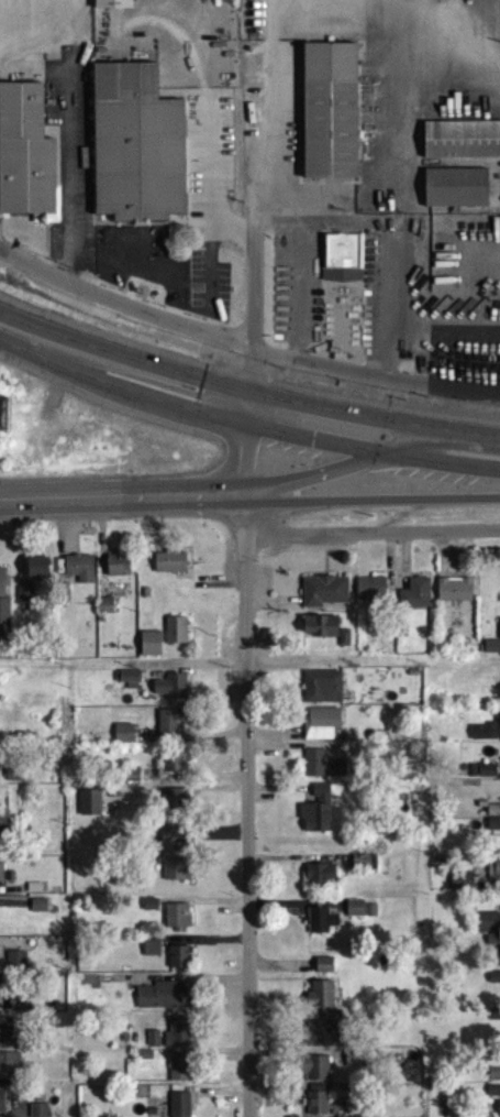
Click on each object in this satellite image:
building: (116, 8)
road: (388, 42)
building: (333, 119)
building: (464, 147)
building: (141, 154)
building: (29, 163)
road: (210, 173)
road: (390, 175)
building: (459, 196)
road: (275, 205)
building: (345, 265)
road: (296, 271)
road: (189, 327)
road: (445, 382)
road: (245, 388)
road: (244, 424)
road: (241, 439)
road: (445, 446)
traffic signals: (391, 453)
road: (323, 470)
road: (379, 492)
road: (130, 495)
road: (369, 533)
building: (173, 570)
building: (121, 572)
building: (41, 576)
building: (82, 576)
building: (4, 590)
building: (374, 596)
building: (457, 598)
building: (327, 599)
building: (27, 602)
building: (109, 614)
building: (7, 631)
building: (327, 636)
building: (179, 638)
building: (154, 651)
building: (493, 655)
building: (133, 687)
building: (175, 694)
building: (325, 694)
building: (175, 729)
building: (326, 731)
building: (487, 740)
building: (127, 742)
building: (178, 768)
building: (316, 771)
building: (341, 776)
building: (490, 779)
road: (244, 803)
building: (178, 809)
building: (92, 811)
building: (320, 819)
building: (177, 861)
building: (497, 876)
building: (2, 880)
building: (323, 884)
building: (465, 889)
building: (42, 913)
building: (358, 916)
building: (180, 924)
building: (324, 929)
building: (490, 930)
building: (496, 946)
building: (155, 954)
building: (0, 961)
building: (181, 965)
building: (19, 966)
building: (327, 973)
building: (496, 986)
building: (0, 997)
building: (323, 1003)
building: (167, 1004)
building: (20, 1010)
building: (8, 1034)
building: (329, 1037)
building: (181, 1041)
building: (358, 1066)
building: (11, 1067)
building: (182, 1075)
building: (318, 1076)
building: (496, 1082)
building: (495, 1098)
building: (3, 1107)
building: (182, 1108)
building: (320, 1108)
building: (41, 1114)

